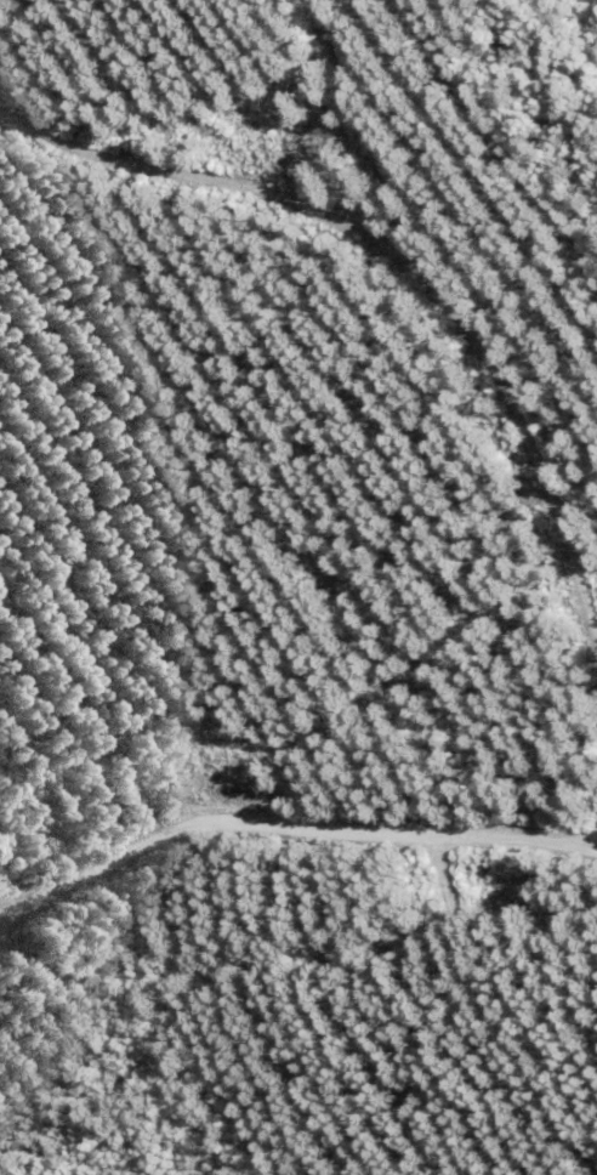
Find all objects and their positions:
road: (290, 831)

